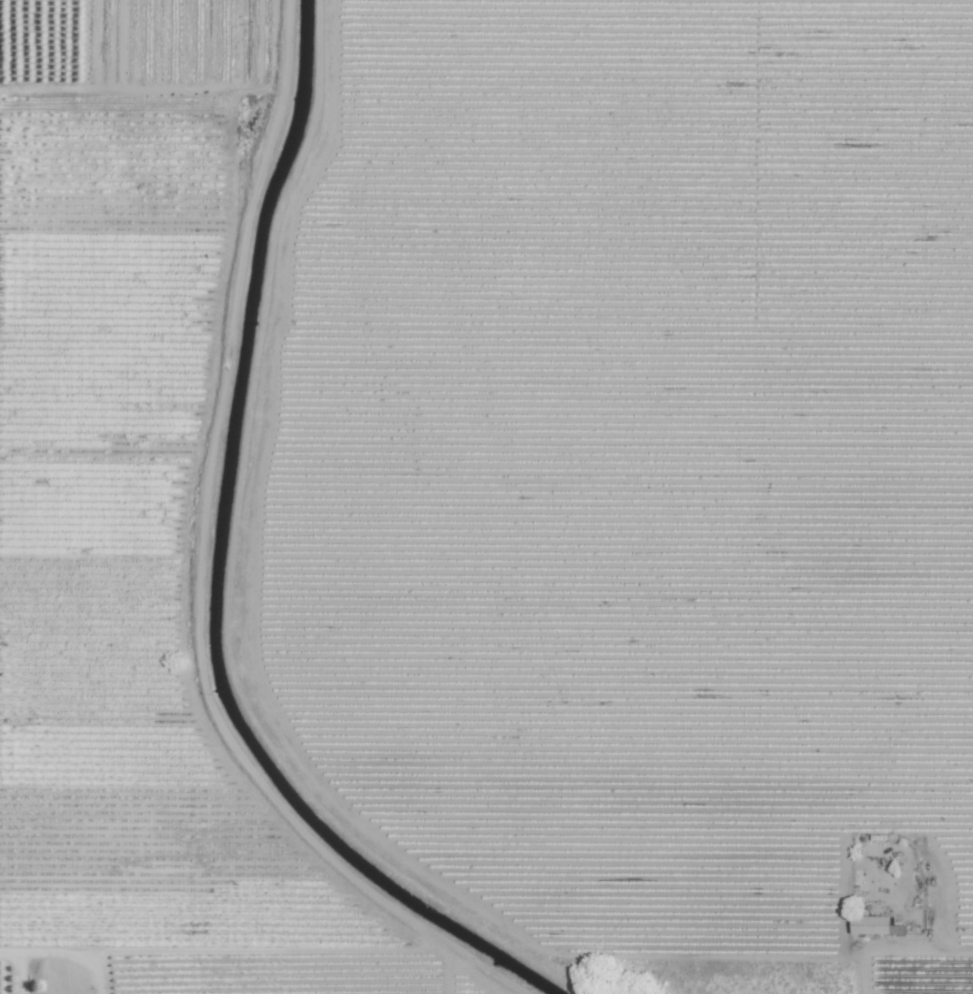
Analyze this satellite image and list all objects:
building: (872, 924)
road: (927, 949)
road: (28, 954)
road: (86, 967)

